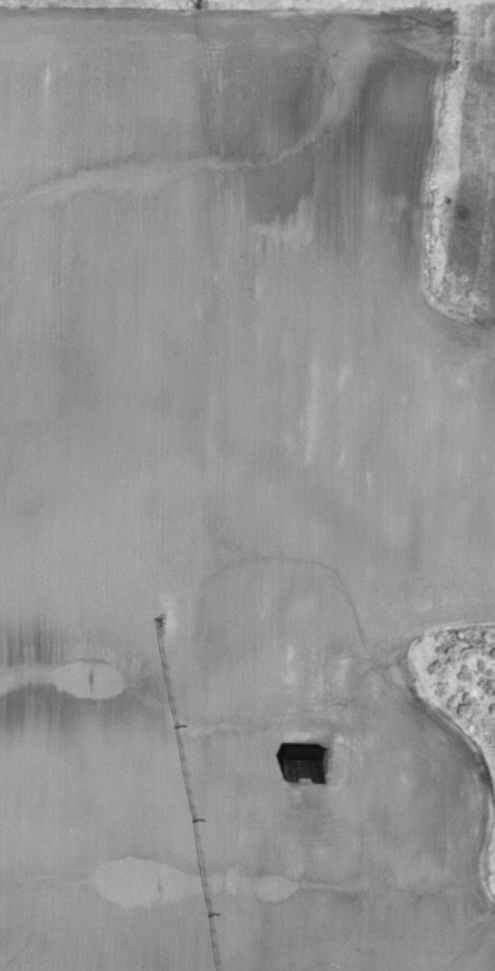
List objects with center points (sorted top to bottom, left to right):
building: (303, 764)

